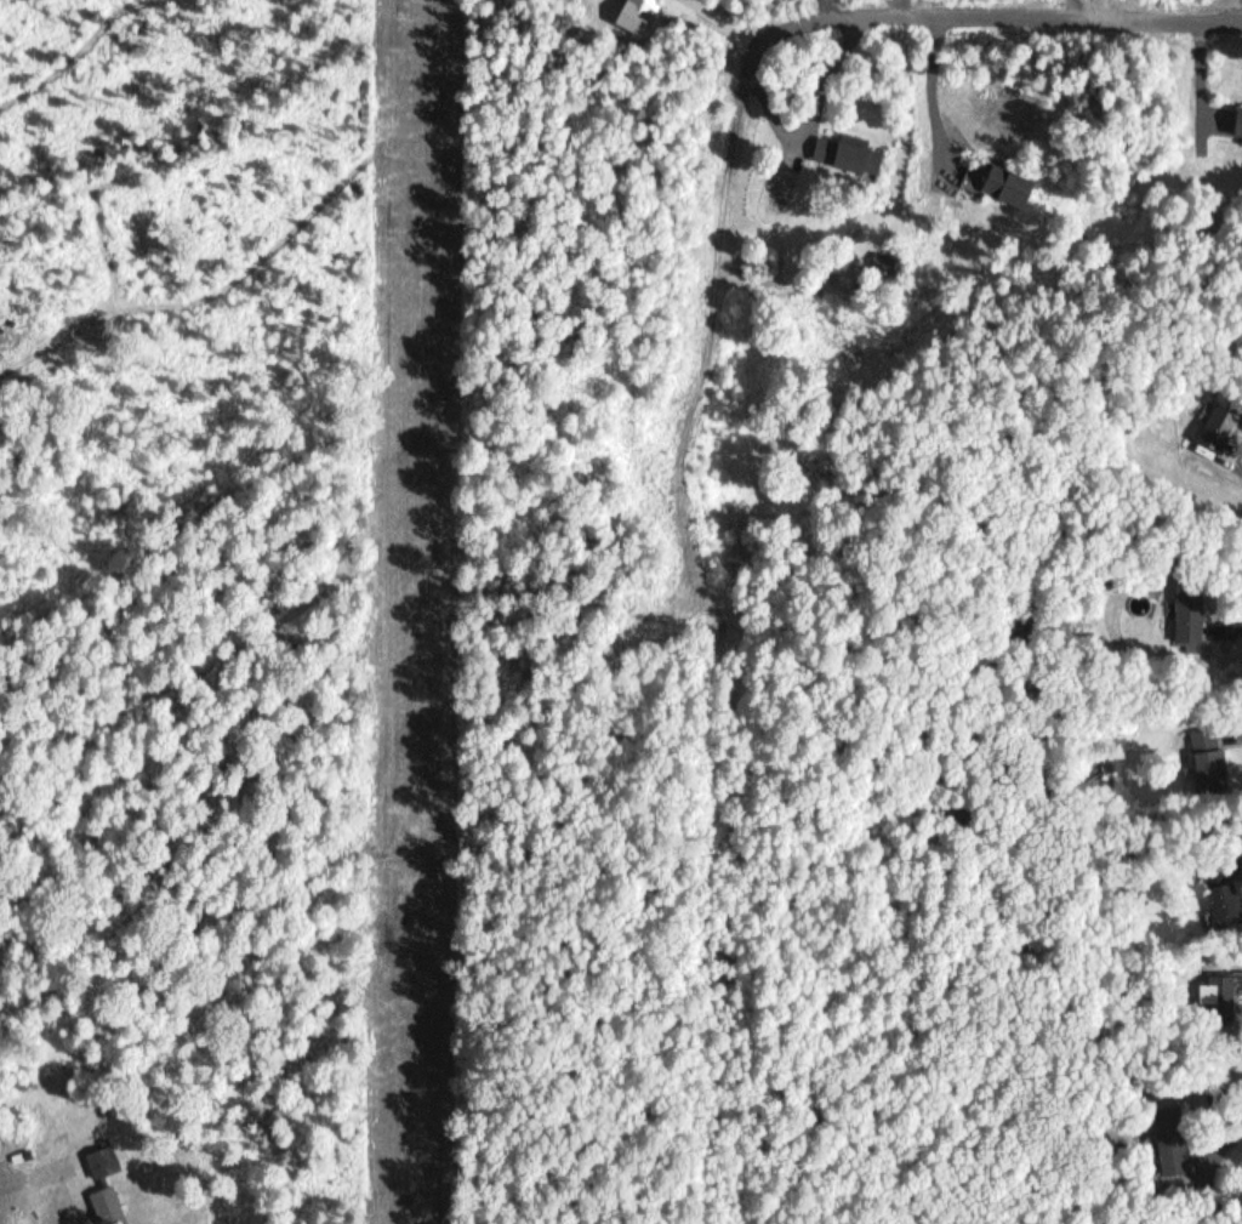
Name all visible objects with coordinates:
road: (1161, 2)
road: (816, 5)
building: (1241, 124)
building: (849, 153)
building: (1016, 187)
building: (771, 200)
building: (1190, 614)
road: (710, 639)
building: (1210, 769)
building: (109, 1185)

